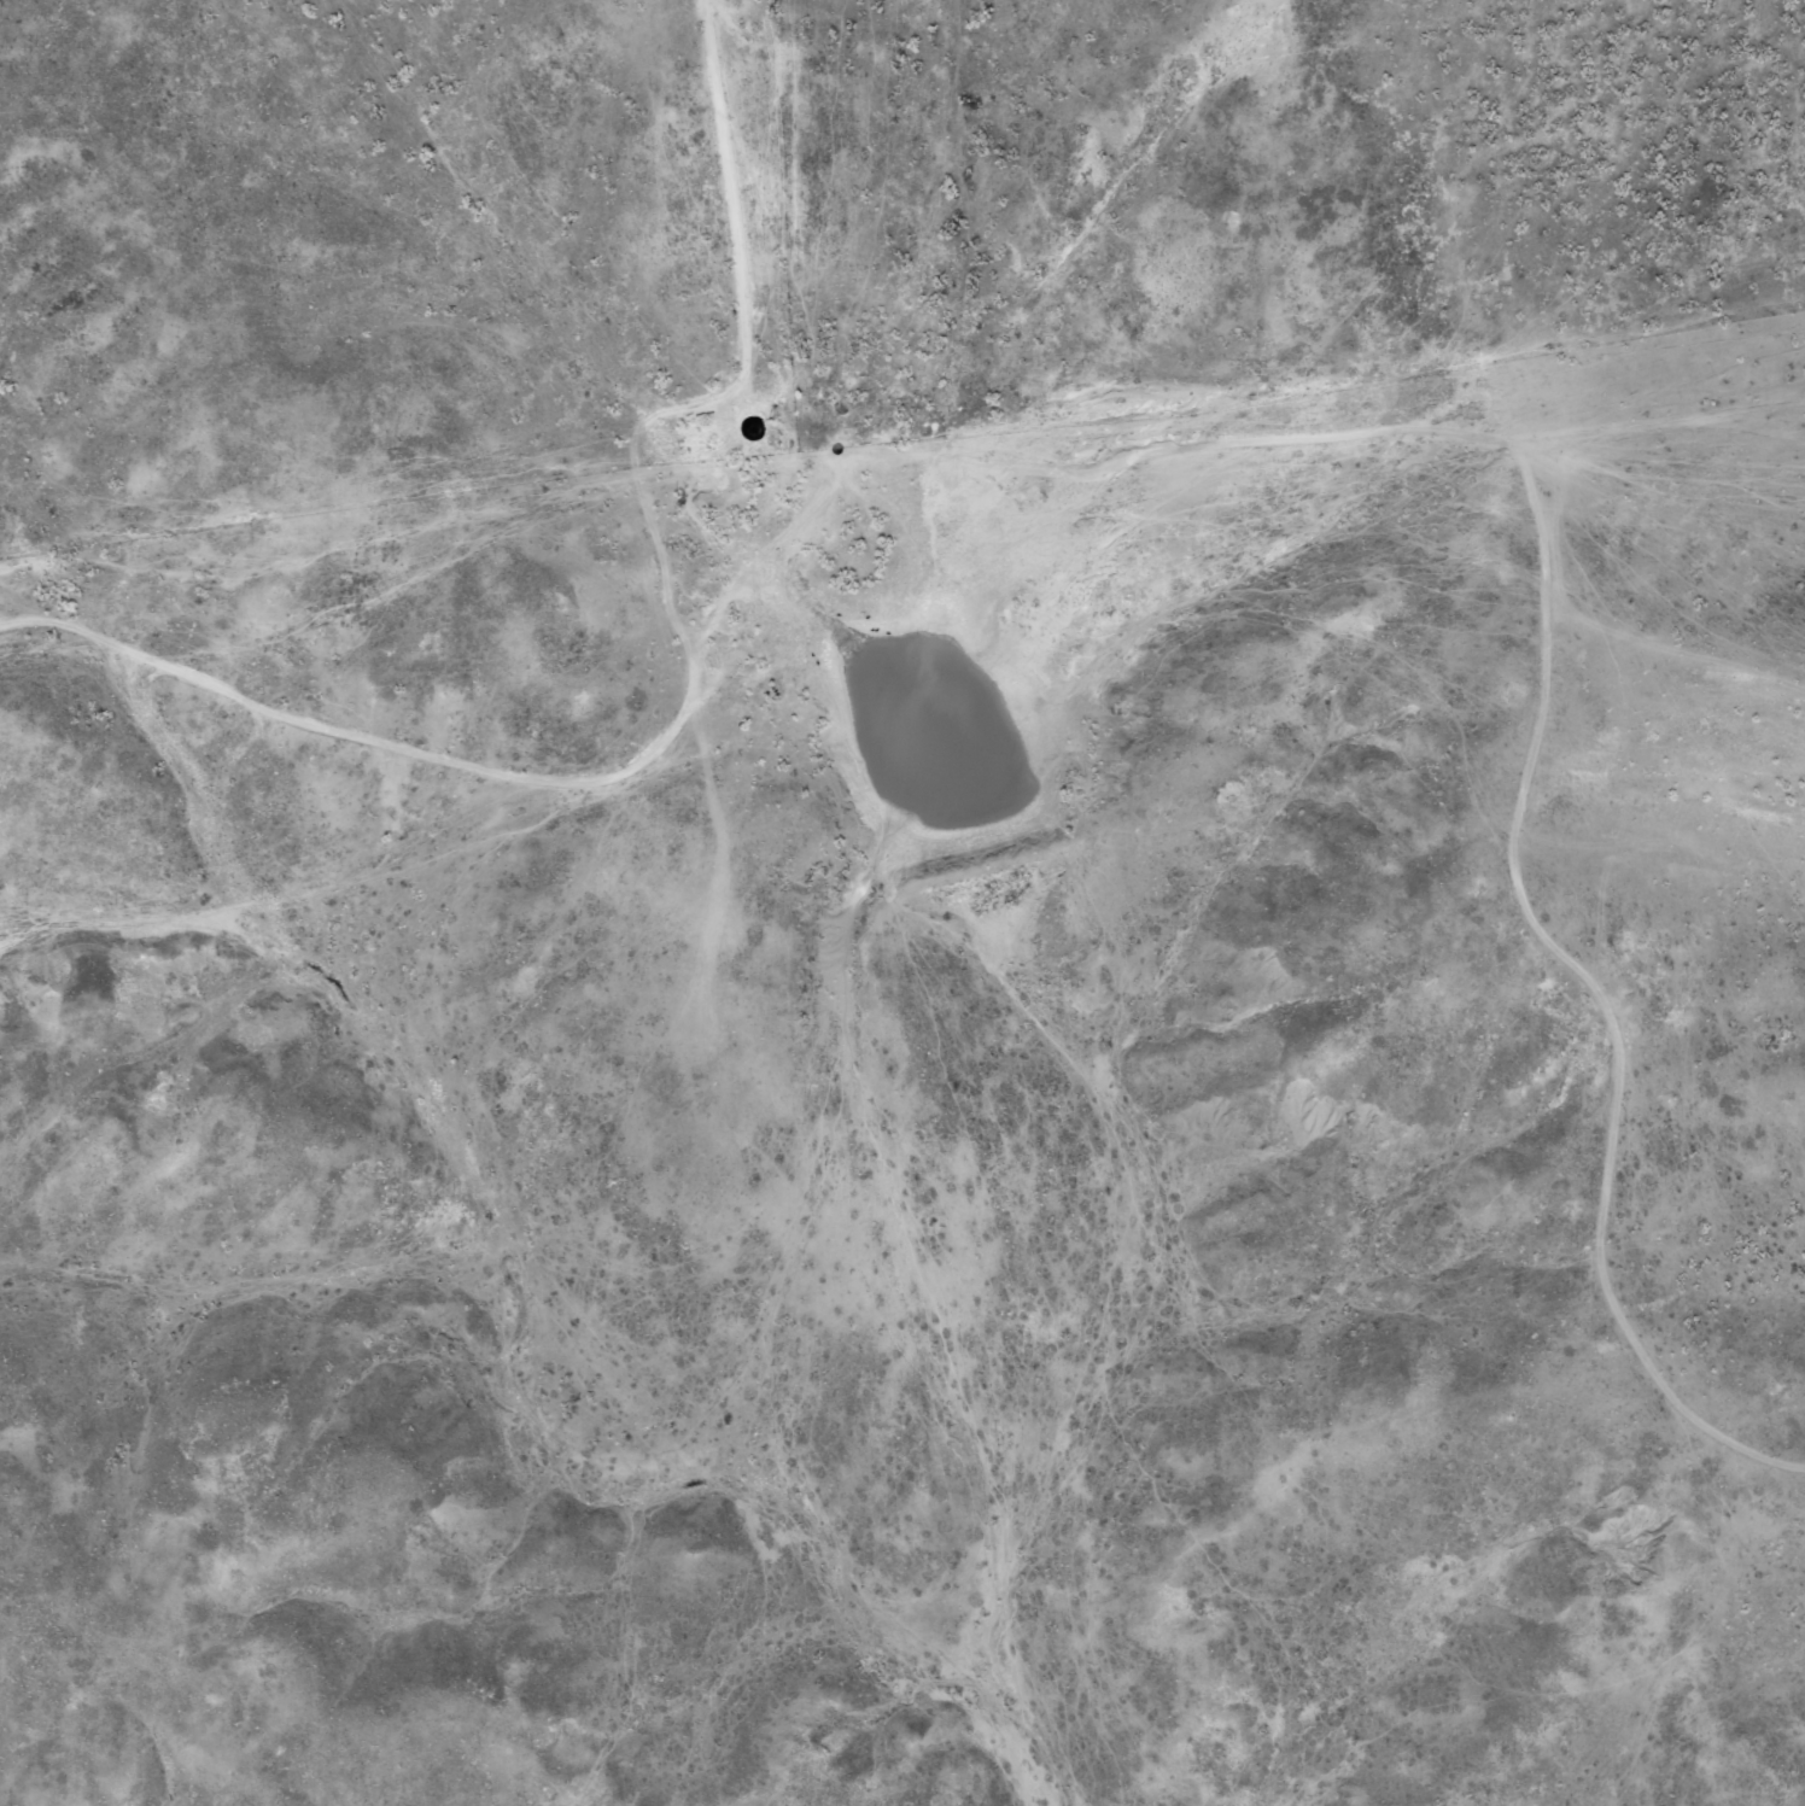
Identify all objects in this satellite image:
road: (643, 660)

